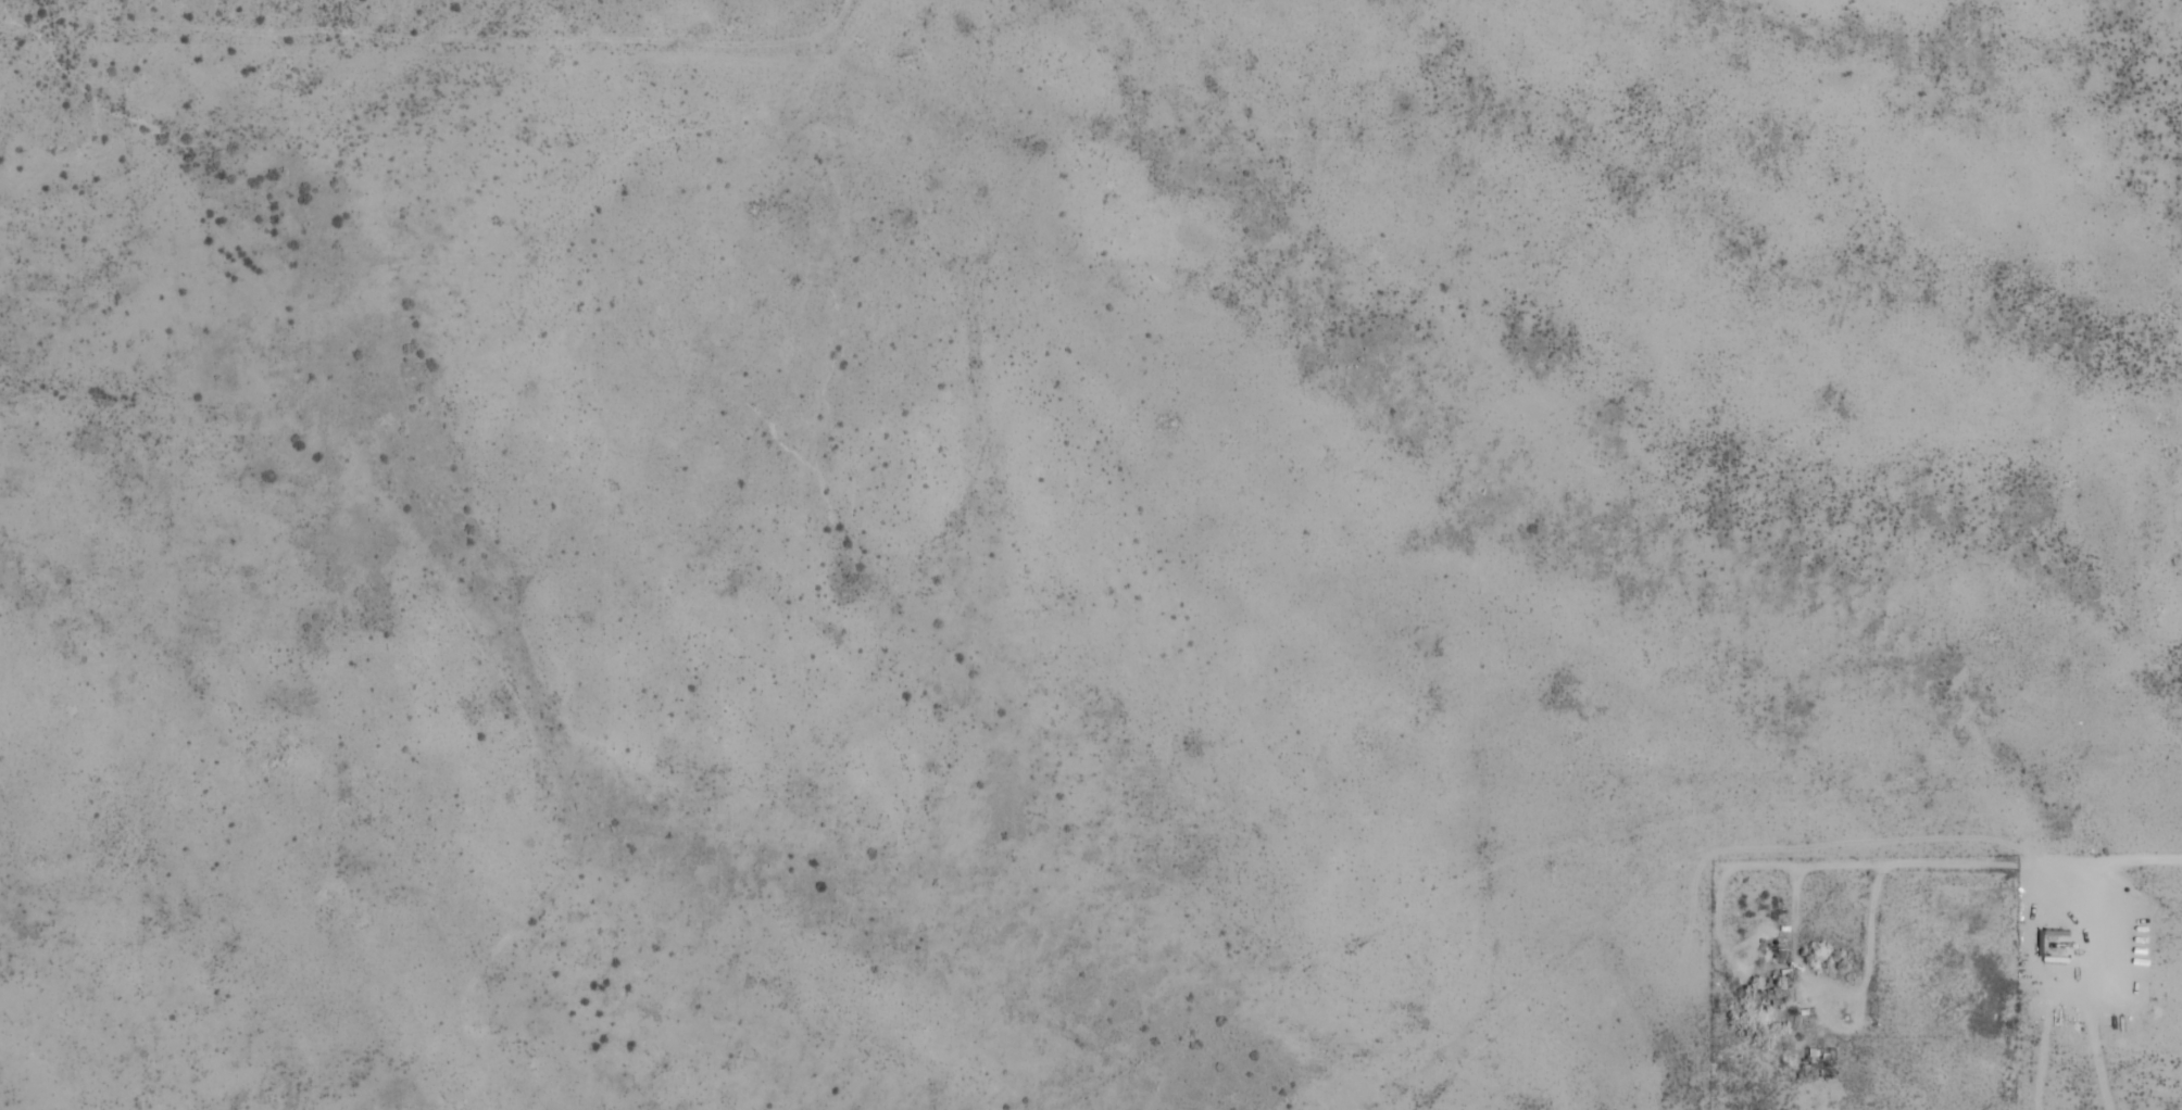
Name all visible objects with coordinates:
road: (1942, 865)

